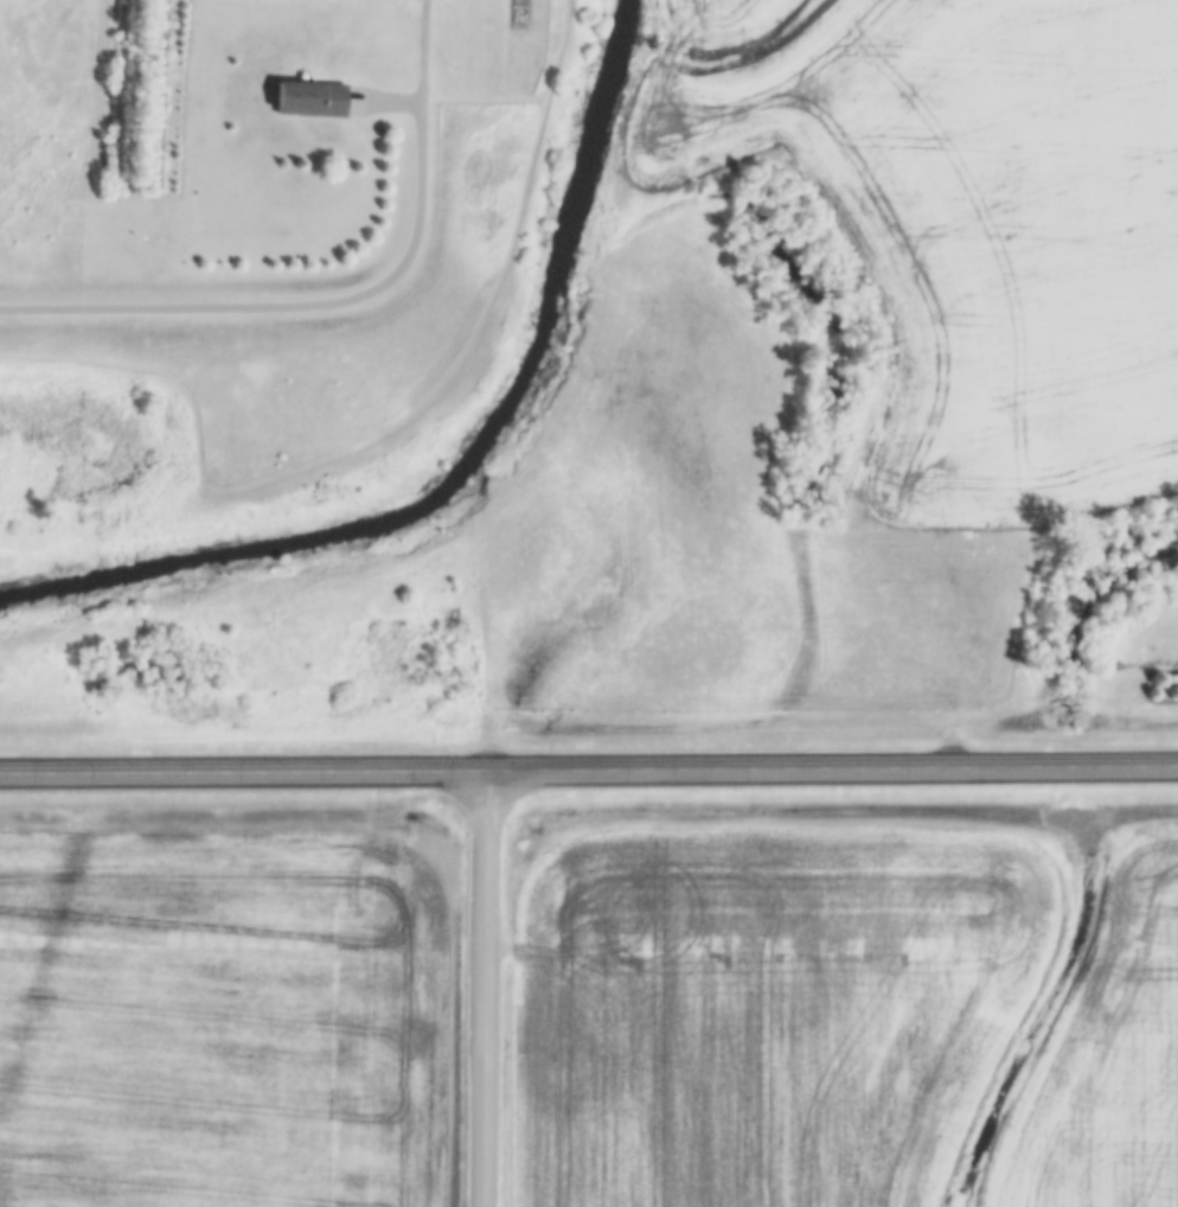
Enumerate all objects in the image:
crop: (724, 19)
building: (312, 95)
crop: (981, 236)
road: (318, 302)
road: (828, 767)
road: (239, 769)
road: (479, 988)
crop: (760, 1011)
crop: (219, 1018)
crop: (1108, 1055)

